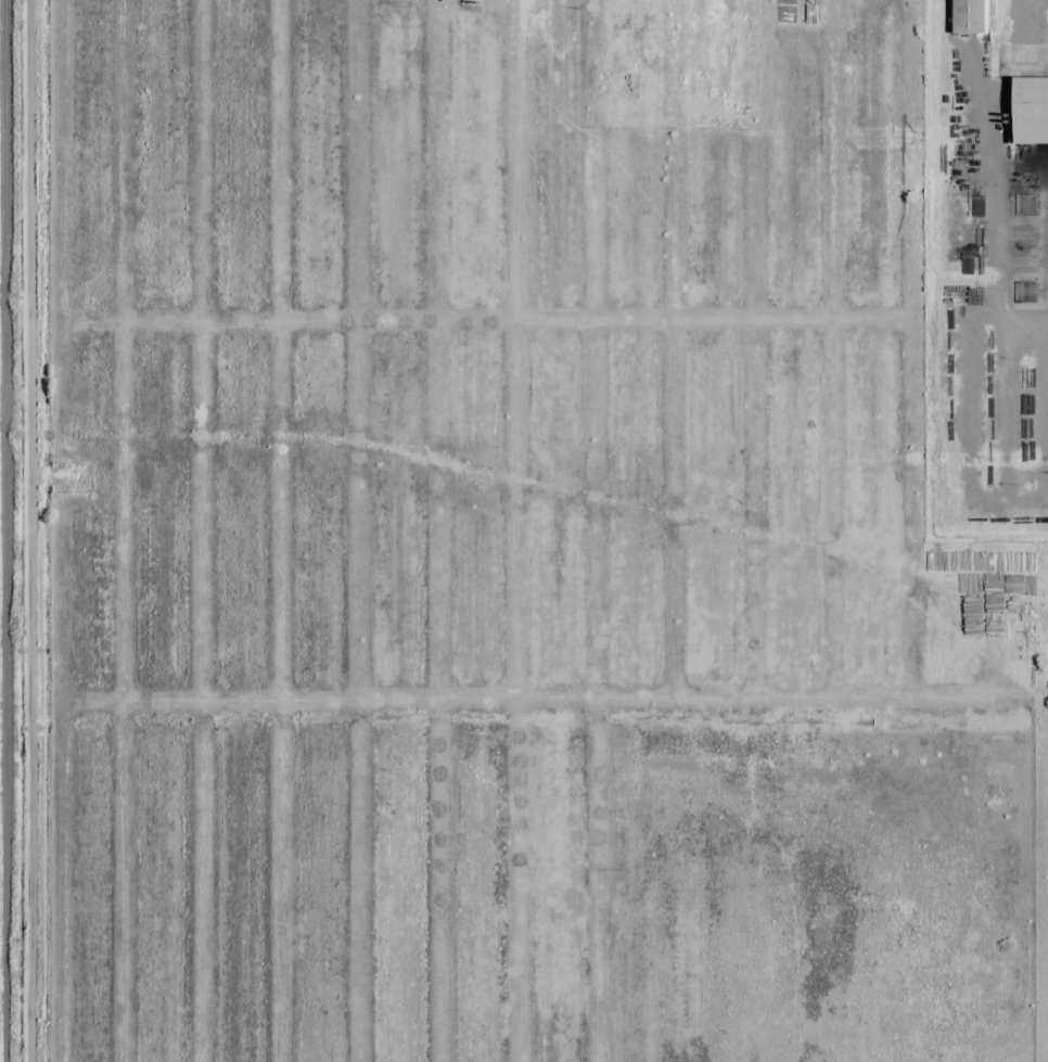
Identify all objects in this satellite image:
building: (976, 17)
building: (1036, 110)
road: (36, 530)

